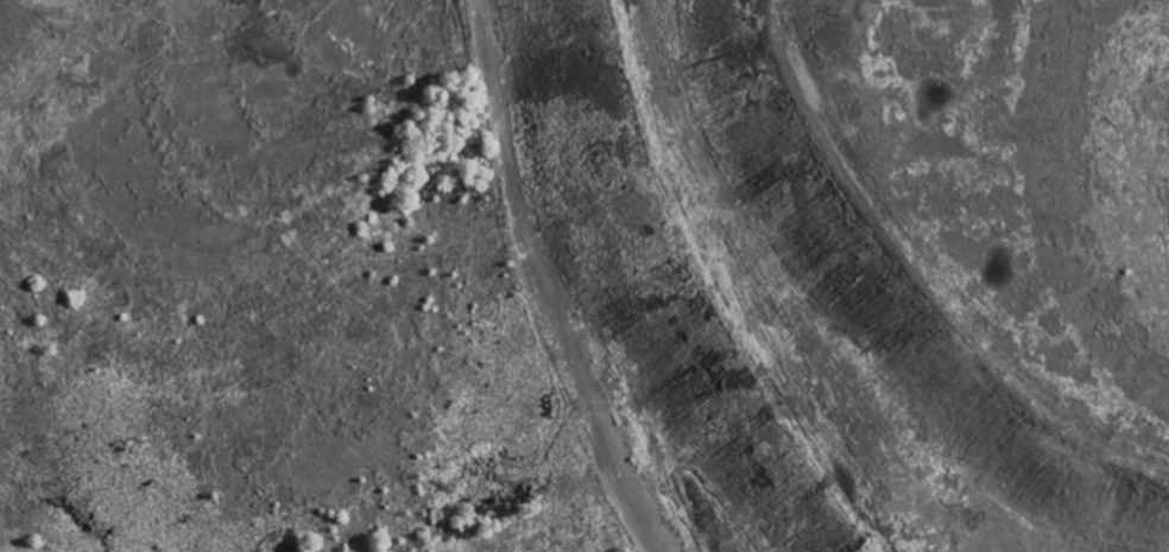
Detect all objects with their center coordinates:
quarry: (584, 275)

